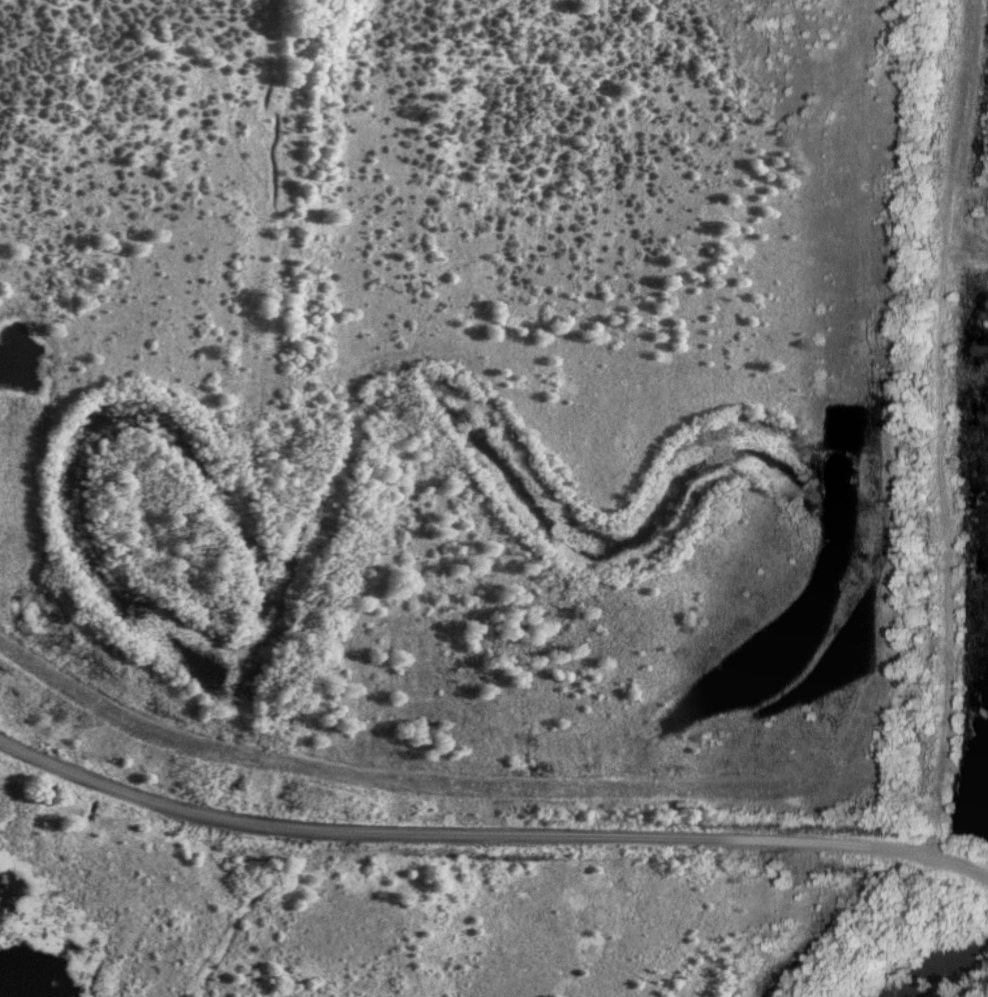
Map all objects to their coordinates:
road: (488, 842)

